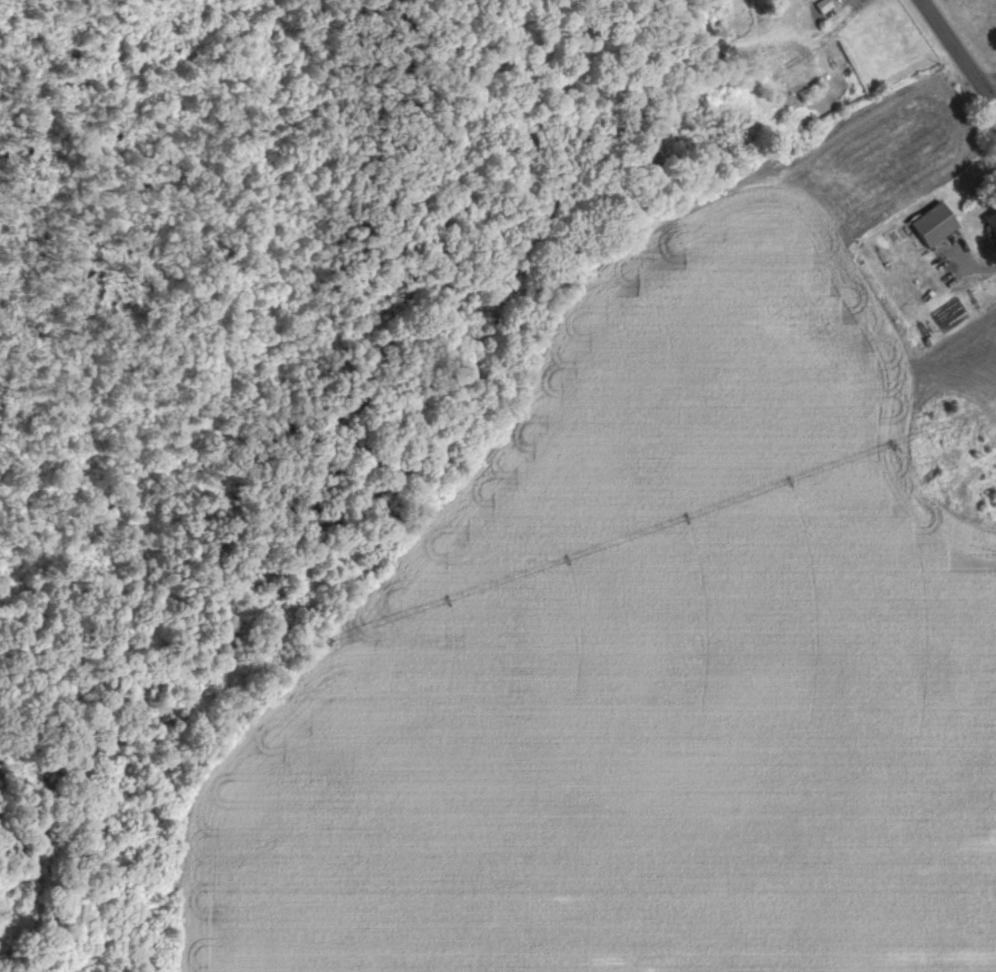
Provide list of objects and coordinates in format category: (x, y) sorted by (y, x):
road: (957, 54)
road: (987, 81)
building: (932, 223)
building: (992, 223)
road: (970, 262)
crop: (647, 671)

